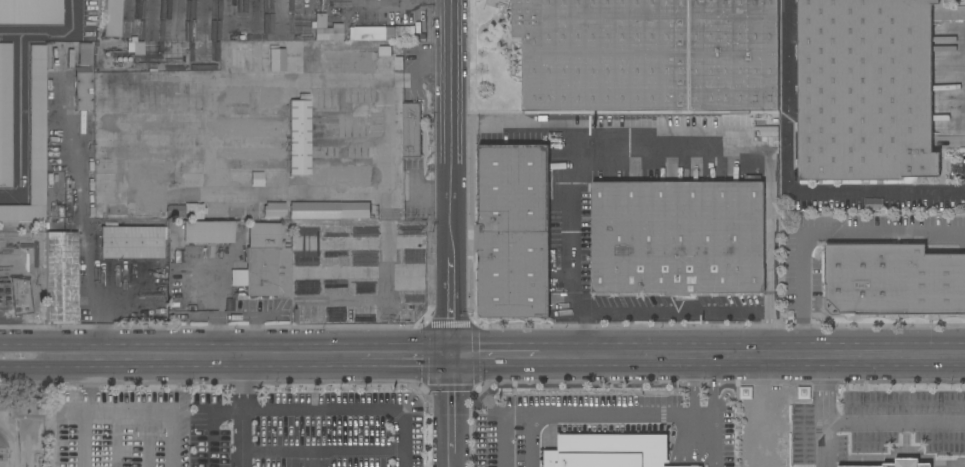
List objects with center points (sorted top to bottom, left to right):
road: (413, 2)
building: (31, 12)
building: (111, 18)
building: (325, 30)
building: (407, 31)
building: (372, 33)
building: (385, 51)
building: (648, 55)
building: (77, 57)
building: (277, 61)
building: (82, 89)
building: (865, 90)
building: (5, 116)
road: (451, 120)
building: (374, 126)
road: (389, 128)
building: (412, 130)
building: (299, 136)
road: (611, 142)
building: (34, 143)
building: (58, 151)
building: (273, 152)
road: (788, 185)
building: (244, 209)
building: (273, 209)
building: (313, 210)
building: (119, 211)
building: (186, 211)
building: (513, 230)
building: (198, 235)
building: (678, 237)
road: (831, 238)
building: (131, 241)
road: (771, 254)
road: (573, 258)
building: (266, 262)
building: (61, 278)
building: (893, 281)
building: (4, 291)
road: (451, 292)
building: (5, 298)
road: (234, 316)
traffic signals: (451, 344)
road: (495, 344)
road: (752, 344)
road: (225, 346)
road: (451, 359)
road: (708, 374)
road: (122, 375)
road: (283, 375)
road: (386, 375)
traffic signals: (452, 375)
road: (88, 391)
road: (691, 395)
road: (712, 395)
road: (155, 409)
road: (304, 417)
road: (587, 418)
road: (819, 420)
road: (245, 421)
road: (452, 421)
road: (892, 423)
road: (86, 437)
road: (706, 440)
road: (21, 447)
building: (608, 451)
road: (322, 453)
road: (893, 460)
building: (906, 463)

